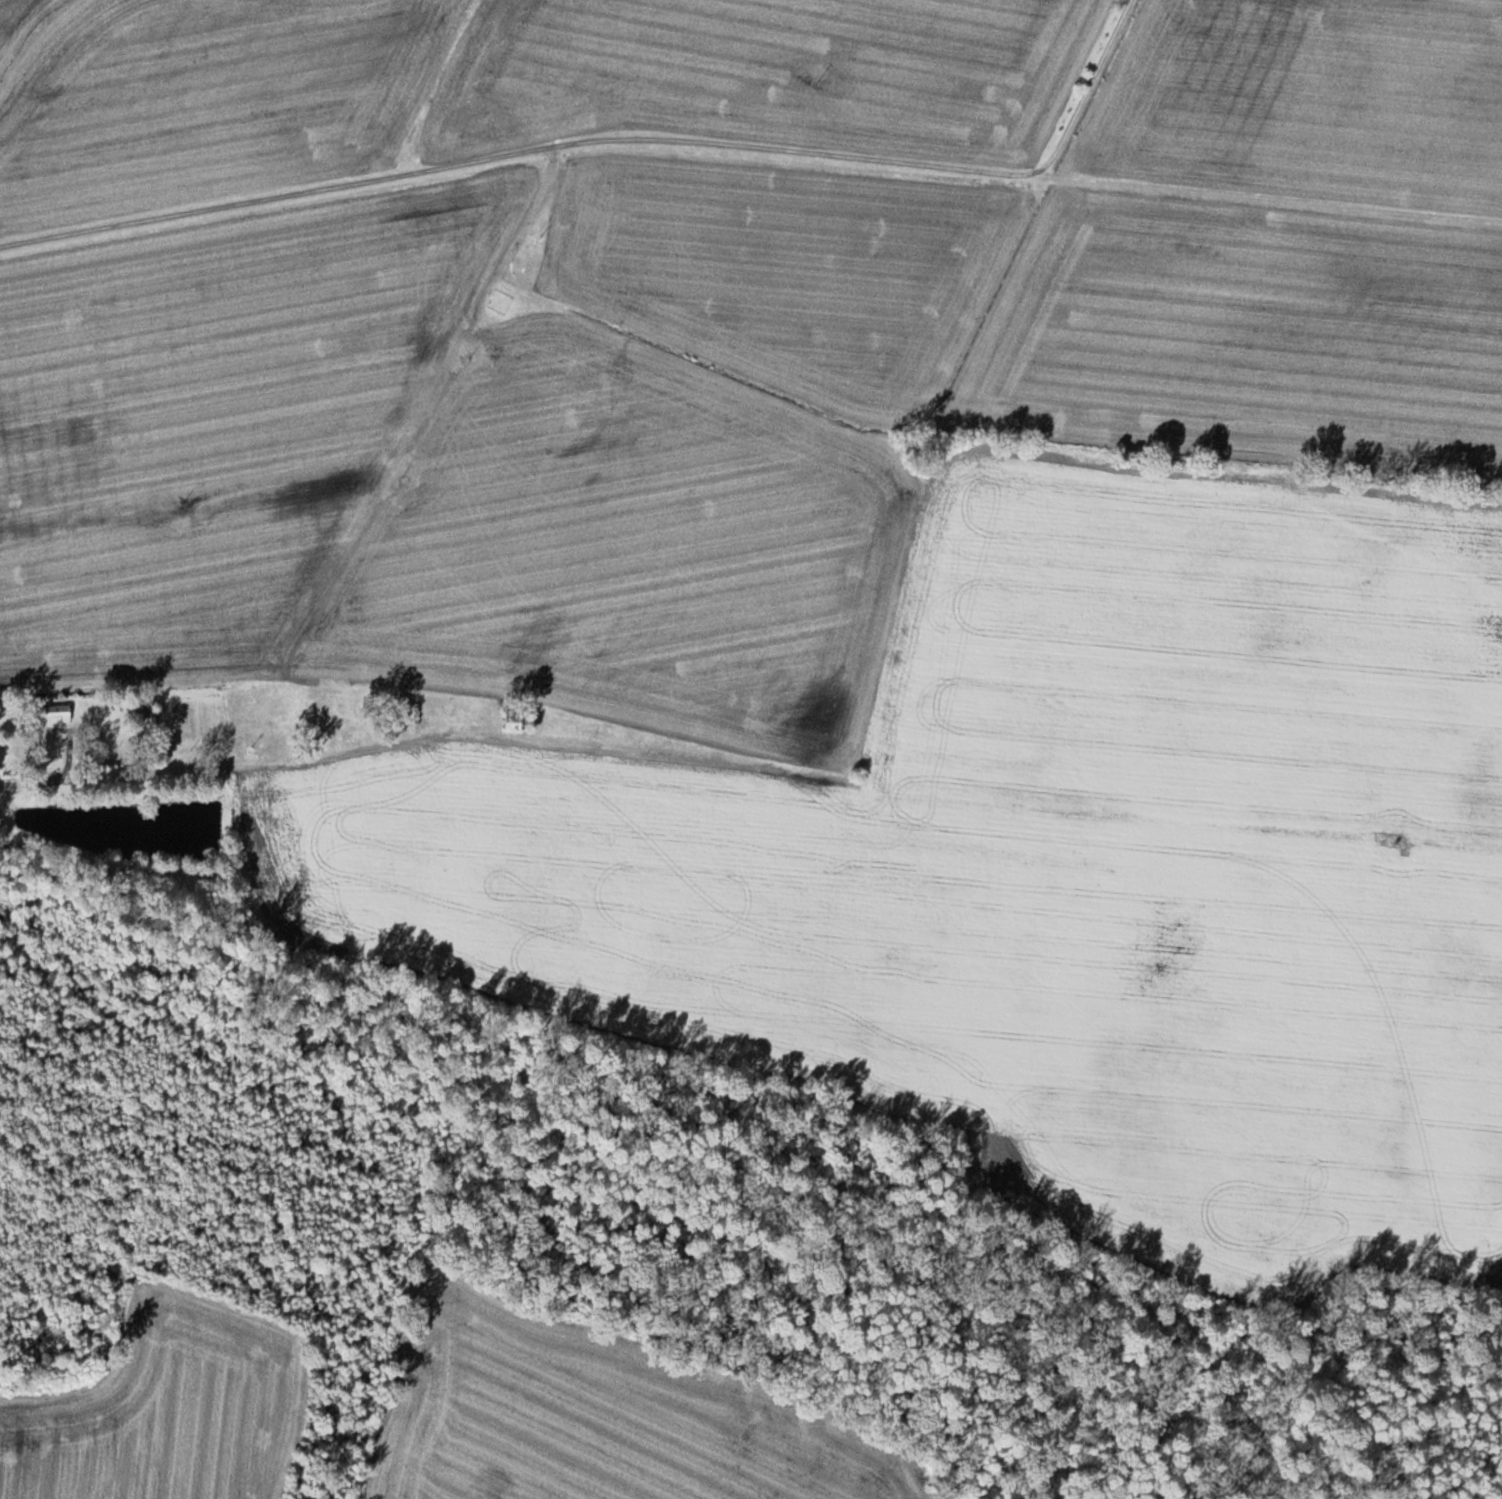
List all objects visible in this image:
road: (614, 139)
building: (61, 715)
building: (138, 715)
building: (519, 717)
road: (34, 782)

